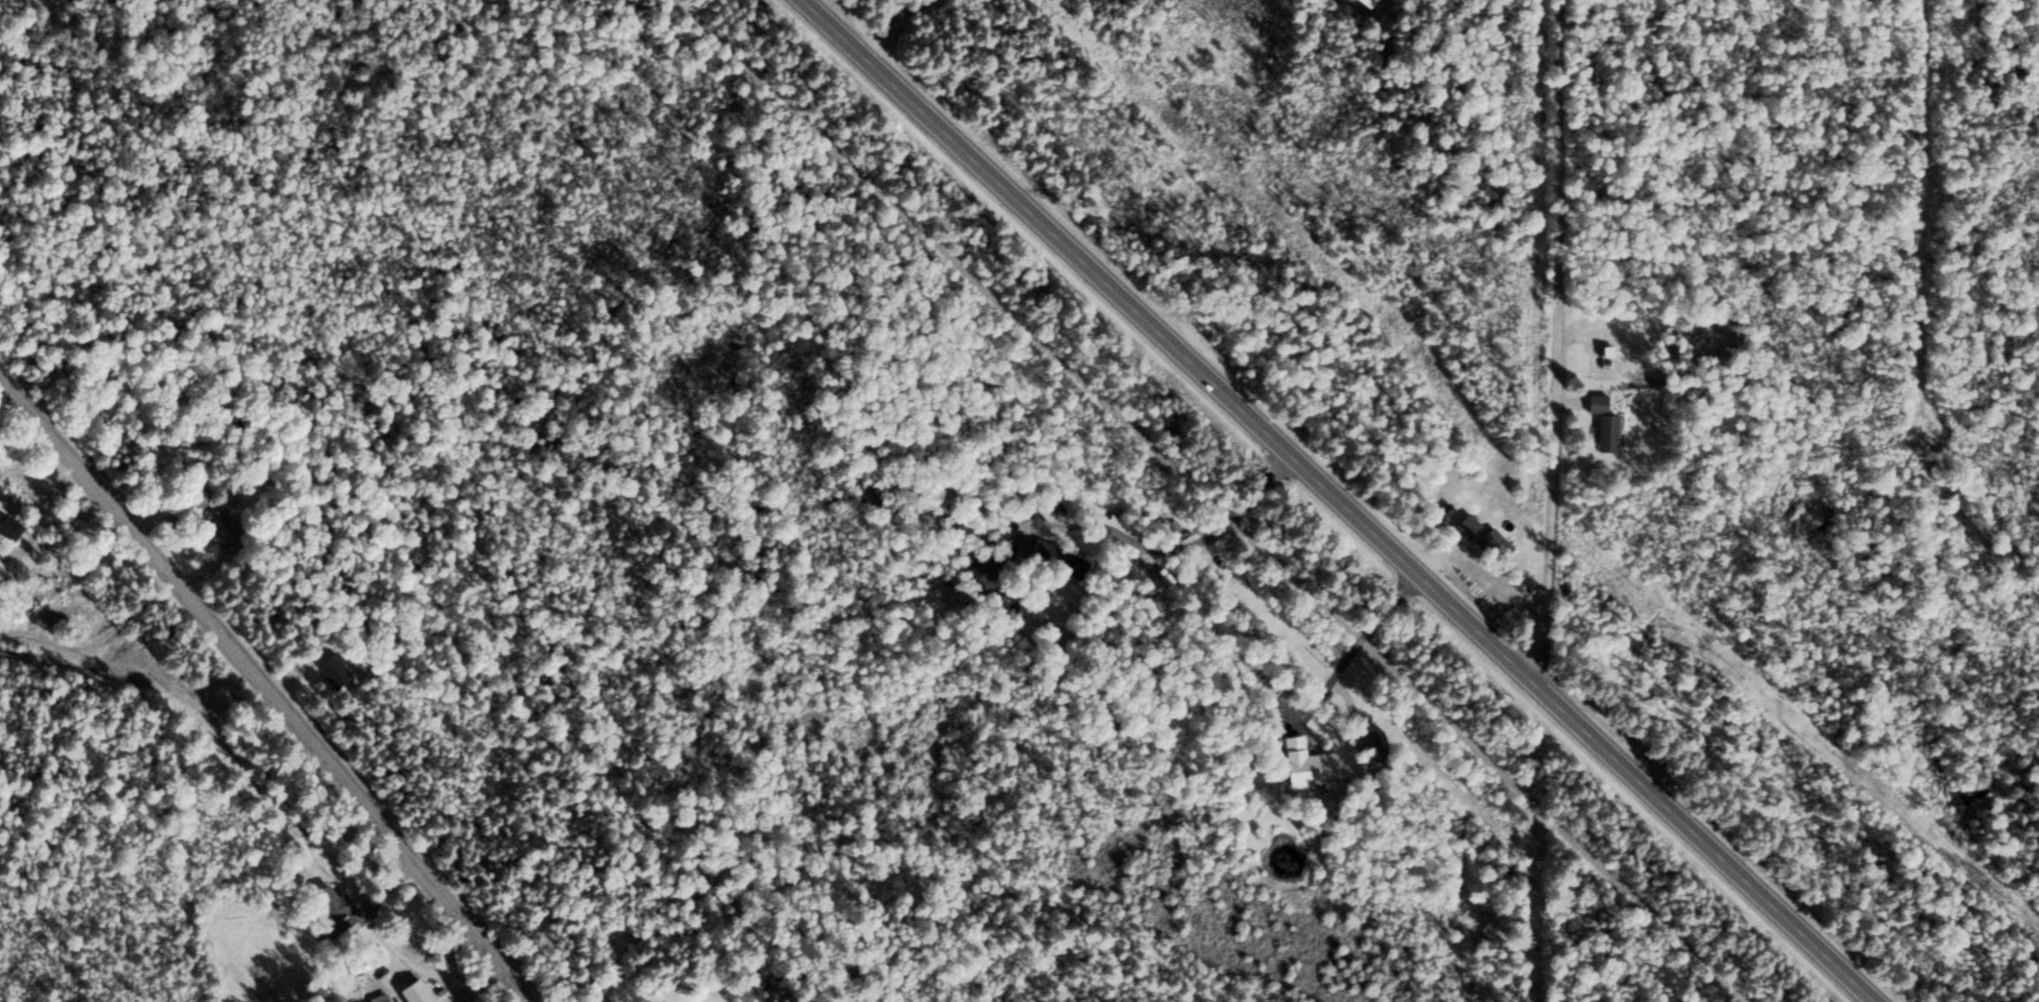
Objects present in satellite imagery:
road: (902, 30)
road: (1553, 342)
building: (1594, 402)
building: (1603, 432)
building: (197, 497)
road: (1205, 500)
road: (1338, 500)
building: (1462, 525)
building: (4, 526)
building: (218, 527)
building: (1490, 542)
road: (1173, 552)
building: (1052, 558)
road: (1348, 656)
building: (328, 668)
road: (266, 687)
building: (1302, 760)
road: (388, 885)
building: (326, 905)
building: (598, 998)
building: (373, 1000)

